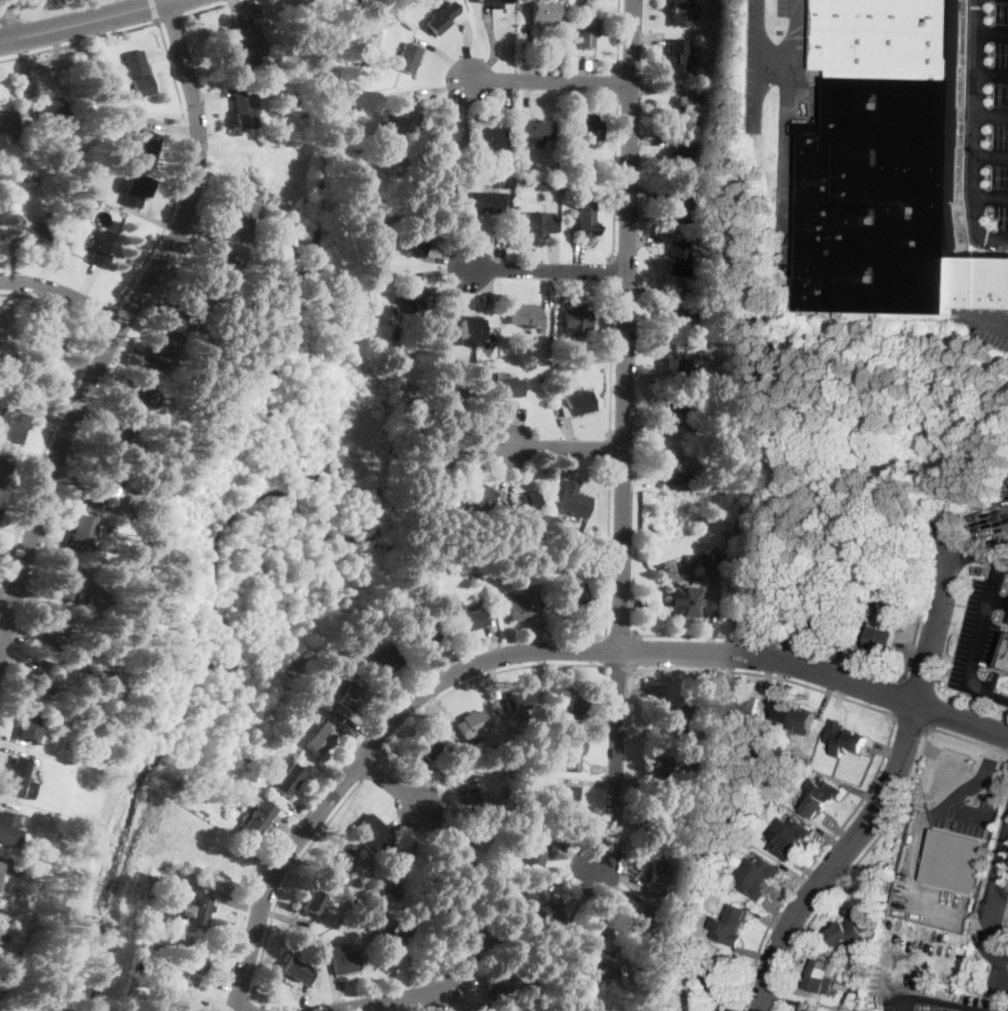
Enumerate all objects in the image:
building: (562, 0)
building: (494, 1)
road: (212, 7)
road: (18, 8)
road: (56, 8)
road: (247, 10)
road: (154, 11)
road: (237, 12)
building: (683, 12)
building: (543, 13)
road: (10, 18)
building: (441, 18)
road: (10, 19)
road: (171, 19)
road: (86, 22)
road: (993, 32)
building: (587, 34)
road: (618, 34)
road: (646, 37)
road: (79, 42)
road: (492, 44)
building: (246, 48)
road: (467, 50)
road: (164, 54)
road: (525, 54)
road: (443, 56)
building: (679, 56)
building: (272, 58)
building: (408, 58)
road: (773, 58)
road: (42, 63)
road: (755, 65)
road: (992, 73)
building: (137, 74)
building: (360, 77)
road: (27, 81)
road: (548, 81)
road: (617, 82)
road: (433, 89)
road: (657, 89)
road: (525, 92)
road: (505, 94)
road: (210, 95)
road: (573, 97)
building: (108, 102)
building: (293, 102)
road: (461, 104)
building: (242, 108)
building: (689, 108)
building: (50, 111)
road: (992, 114)
building: (403, 115)
road: (975, 119)
building: (7, 120)
road: (789, 123)
parking lot: (987, 123)
road: (171, 128)
building: (588, 130)
building: (536, 132)
building: (490, 137)
road: (645, 138)
building: (18, 139)
building: (445, 142)
building: (286, 144)
building: (146, 145)
building: (40, 146)
road: (225, 146)
building: (685, 156)
road: (991, 156)
building: (243, 162)
building: (580, 163)
building: (890, 165)
road: (183, 171)
building: (75, 176)
road: (615, 178)
building: (23, 181)
building: (548, 184)
building: (570, 187)
building: (496, 188)
building: (134, 190)
building: (453, 193)
road: (991, 197)
building: (487, 202)
building: (678, 207)
building: (522, 213)
building: (240, 214)
road: (643, 214)
road: (151, 218)
building: (585, 219)
road: (212, 224)
building: (535, 225)
building: (34, 232)
road: (204, 237)
building: (420, 237)
road: (995, 237)
building: (102, 249)
building: (293, 251)
road: (500, 253)
road: (12, 254)
road: (646, 255)
road: (554, 258)
building: (679, 258)
road: (440, 259)
road: (579, 259)
building: (213, 269)
road: (612, 270)
road: (439, 271)
road: (547, 271)
road: (85, 282)
road: (487, 285)
road: (570, 285)
road: (547, 292)
road: (63, 293)
road: (647, 294)
building: (414, 298)
road: (54, 302)
building: (191, 305)
road: (163, 308)
building: (681, 310)
road: (63, 313)
building: (522, 315)
road: (110, 318)
building: (576, 319)
road: (994, 323)
parking lot: (987, 324)
road: (119, 328)
building: (0, 332)
building: (469, 333)
building: (165, 346)
building: (49, 348)
building: (565, 348)
road: (140, 353)
building: (679, 357)
road: (611, 358)
road: (135, 363)
road: (645, 377)
building: (508, 388)
building: (139, 392)
building: (451, 401)
building: (580, 403)
building: (675, 407)
road: (104, 410)
road: (48, 415)
building: (13, 420)
road: (517, 424)
road: (487, 427)
road: (569, 428)
road: (649, 428)
building: (115, 437)
road: (623, 438)
road: (567, 447)
road: (610, 449)
road: (43, 452)
building: (446, 454)
road: (488, 455)
road: (30, 461)
building: (1, 462)
road: (567, 463)
road: (506, 468)
road: (511, 468)
building: (669, 469)
building: (123, 477)
road: (635, 479)
building: (97, 483)
building: (480, 494)
road: (80, 497)
building: (459, 499)
building: (574, 501)
building: (526, 502)
parking lot: (993, 513)
road: (1007, 522)
building: (108, 529)
building: (82, 531)
building: (536, 533)
road: (58, 542)
road: (608, 550)
road: (973, 551)
building: (713, 556)
road: (1004, 561)
building: (667, 570)
building: (474, 575)
building: (66, 578)
building: (670, 580)
building: (530, 585)
road: (36, 588)
road: (3, 593)
road: (7, 595)
building: (749, 595)
building: (573, 596)
building: (760, 596)
building: (453, 600)
road: (999, 600)
building: (97, 602)
building: (683, 602)
road: (633, 603)
building: (522, 608)
building: (486, 609)
road: (712, 610)
building: (813, 614)
building: (467, 619)
building: (831, 619)
road: (732, 625)
building: (55, 629)
road: (773, 630)
parking lot: (982, 631)
road: (570, 632)
road: (790, 632)
building: (424, 635)
road: (620, 635)
road: (492, 636)
road: (537, 636)
building: (873, 637)
building: (886, 638)
road: (768, 639)
road: (23, 641)
road: (978, 642)
road: (838, 649)
road: (604, 650)
road: (912, 650)
road: (914, 650)
road: (634, 651)
road: (528, 652)
road: (853, 655)
road: (449, 658)
road: (17, 659)
building: (387, 661)
building: (1006, 662)
road: (617, 667)
road: (724, 670)
road: (782, 670)
road: (765, 675)
road: (477, 677)
building: (42, 678)
road: (495, 681)
road: (389, 688)
building: (111, 689)
road: (639, 690)
road: (841, 692)
building: (315, 693)
building: (777, 693)
road: (826, 695)
building: (350, 697)
road: (896, 697)
building: (521, 701)
building: (576, 709)
building: (730, 709)
building: (749, 709)
building: (787, 713)
building: (676, 714)
road: (444, 716)
building: (804, 718)
road: (602, 721)
road: (357, 723)
road: (910, 723)
building: (30, 724)
building: (471, 724)
building: (321, 737)
building: (838, 737)
road: (15, 739)
road: (354, 741)
building: (855, 741)
building: (291, 748)
building: (426, 748)
road: (886, 748)
road: (992, 748)
road: (887, 750)
building: (573, 752)
road: (1005, 752)
road: (18, 754)
building: (662, 762)
road: (371, 768)
road: (604, 769)
road: (634, 775)
building: (19, 780)
building: (290, 780)
road: (989, 780)
road: (590, 783)
road: (389, 784)
road: (427, 787)
building: (825, 789)
road: (444, 790)
building: (472, 791)
building: (189, 792)
building: (535, 793)
road: (863, 794)
road: (888, 794)
building: (567, 798)
building: (814, 803)
building: (149, 804)
road: (8, 805)
road: (966, 810)
road: (300, 813)
road: (402, 814)
building: (660, 814)
road: (631, 816)
parking lot: (968, 816)
building: (512, 817)
building: (258, 819)
road: (441, 823)
building: (793, 828)
building: (9, 829)
road: (287, 829)
road: (840, 830)
building: (372, 836)
road: (333, 837)
building: (514, 840)
road: (833, 840)
building: (781, 842)
road: (921, 844)
road: (869, 848)
building: (536, 851)
building: (454, 854)
road: (572, 854)
building: (408, 855)
road: (3, 859)
road: (254, 859)
building: (954, 859)
building: (171, 862)
building: (478, 863)
building: (0, 865)
building: (224, 865)
building: (337, 866)
building: (762, 867)
building: (136, 869)
road: (809, 871)
road: (568, 875)
road: (797, 876)
road: (287, 877)
building: (662, 878)
road: (618, 879)
building: (751, 883)
road: (847, 884)
building: (712, 887)
road: (617, 888)
parking lot: (1007, 895)
road: (989, 897)
building: (873, 899)
building: (312, 902)
road: (237, 904)
building: (542, 904)
road: (599, 904)
building: (199, 911)
road: (775, 911)
building: (418, 913)
building: (381, 915)
building: (737, 915)
building: (168, 916)
road: (284, 916)
road: (771, 921)
building: (357, 923)
building: (639, 924)
road: (998, 924)
building: (858, 925)
building: (62, 929)
building: (687, 930)
building: (725, 930)
building: (468, 931)
road: (807, 936)
building: (842, 936)
building: (146, 937)
building: (391, 938)
building: (342, 939)
road: (799, 951)
road: (757, 954)
road: (1005, 955)
building: (343, 960)
building: (593, 960)
parking lot: (918, 960)
building: (198, 962)
road: (750, 963)
building: (722, 967)
building: (298, 970)
building: (822, 970)
road: (998, 973)
road: (455, 974)
road: (332, 979)
building: (718, 979)
road: (391, 980)
building: (500, 980)
road: (214, 984)
building: (819, 984)
road: (459, 987)
road: (790, 987)
road: (1001, 991)
road: (306, 997)
road: (740, 998)
road: (786, 1000)
road: (389, 1001)
road: (460, 1001)
parking lot: (935, 1002)
road: (942, 1002)
road: (208, 1003)
road: (248, 1003)
road: (404, 1005)
building: (174, 1006)
road: (386, 1006)
building: (708, 1007)
road: (730, 1007)
building: (805, 1009)
road: (236, 1010)
building: (690, 1010)
building: (877, 1010)

